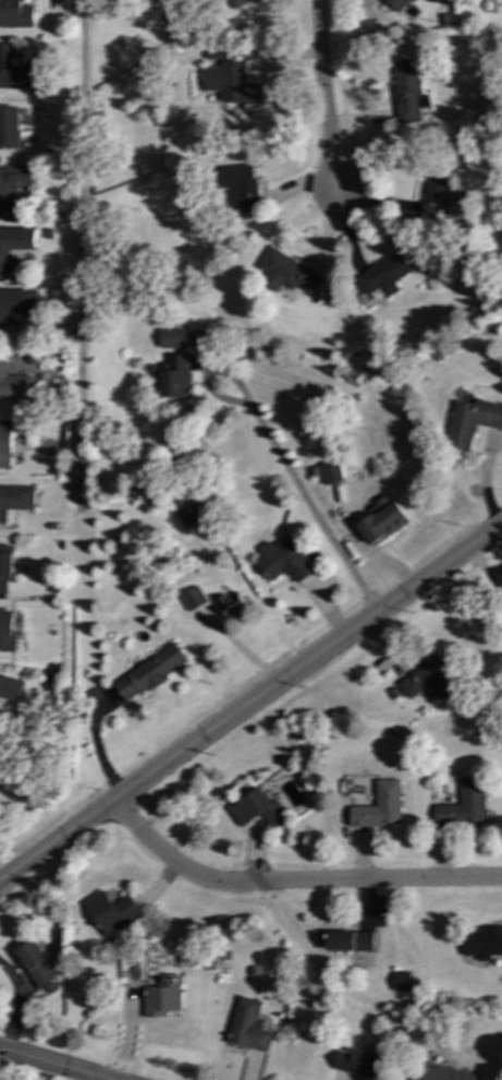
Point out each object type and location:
building: (235, 3)
building: (396, 4)
building: (16, 14)
building: (15, 71)
building: (231, 83)
building: (406, 92)
road: (322, 98)
building: (9, 127)
building: (13, 181)
building: (240, 187)
building: (434, 197)
building: (13, 243)
building: (284, 272)
building: (383, 275)
building: (15, 303)
building: (172, 338)
building: (174, 375)
building: (14, 385)
building: (470, 421)
building: (5, 444)
road: (279, 459)
building: (329, 473)
building: (14, 501)
building: (189, 514)
building: (381, 520)
building: (282, 560)
building: (4, 566)
building: (500, 577)
building: (194, 599)
building: (232, 604)
building: (7, 631)
building: (149, 672)
building: (428, 680)
building: (10, 688)
road: (250, 703)
building: (464, 804)
building: (379, 806)
building: (256, 809)
road: (291, 881)
building: (111, 912)
building: (348, 941)
building: (481, 943)
building: (38, 968)
building: (400, 982)
building: (161, 997)
road: (17, 1005)
building: (247, 1025)
road: (51, 1064)
building: (357, 1064)
building: (440, 1072)
road: (98, 1079)

